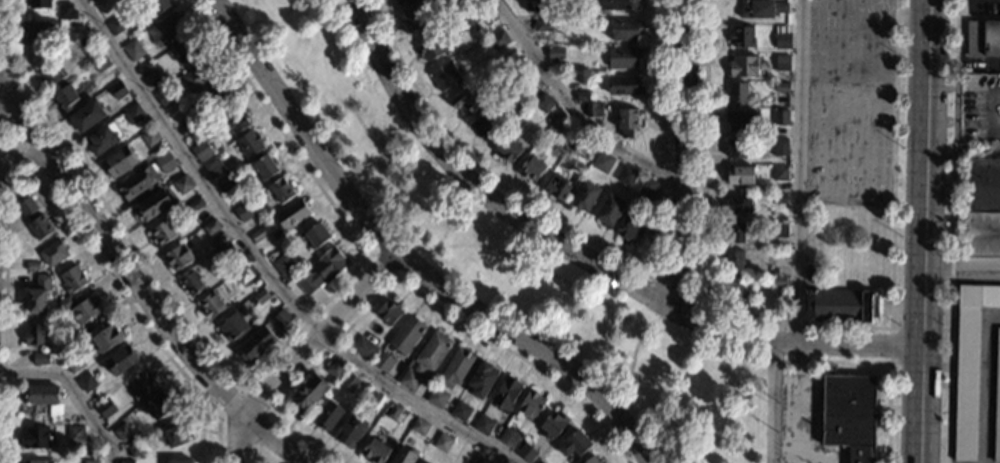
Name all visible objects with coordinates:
building: (401, 1)
building: (40, 4)
building: (617, 5)
building: (157, 6)
building: (534, 6)
building: (760, 9)
building: (66, 12)
building: (413, 19)
building: (470, 19)
building: (117, 25)
building: (541, 26)
building: (74, 27)
building: (41, 30)
building: (624, 30)
building: (165, 31)
building: (741, 38)
building: (982, 38)
building: (498, 40)
building: (85, 41)
building: (781, 41)
building: (429, 48)
building: (132, 50)
building: (186, 51)
building: (555, 53)
building: (512, 59)
building: (621, 59)
building: (781, 63)
building: (101, 65)
building: (742, 67)
building: (146, 70)
building: (50, 75)
building: (443, 75)
building: (198, 76)
building: (622, 86)
building: (780, 87)
building: (535, 88)
building: (117, 91)
road: (9, 92)
building: (736, 93)
building: (219, 95)
building: (165, 96)
building: (581, 97)
building: (64, 98)
building: (464, 102)
parking lot: (849, 102)
building: (542, 103)
road: (570, 108)
parking lot: (979, 108)
road: (988, 109)
building: (591, 110)
building: (133, 115)
building: (87, 116)
building: (779, 118)
building: (235, 120)
building: (626, 121)
building: (737, 121)
building: (556, 122)
building: (481, 128)
building: (187, 129)
road: (7, 135)
building: (149, 137)
road: (15, 138)
building: (104, 139)
building: (249, 144)
building: (574, 144)
building: (778, 147)
building: (506, 149)
building: (736, 149)
building: (201, 150)
road: (683, 155)
road: (23, 158)
building: (602, 161)
building: (163, 162)
building: (118, 163)
road: (33, 165)
building: (212, 166)
building: (265, 168)
building: (530, 168)
building: (779, 174)
road: (7, 175)
building: (624, 175)
building: (739, 177)
building: (136, 183)
building: (182, 185)
building: (224, 186)
building: (646, 187)
building: (555, 188)
road: (477, 189)
building: (280, 190)
road: (51, 193)
building: (584, 197)
building: (778, 200)
building: (195, 204)
building: (737, 204)
building: (152, 206)
building: (983, 208)
building: (609, 211)
building: (243, 212)
building: (291, 215)
building: (34, 220)
building: (211, 227)
building: (777, 230)
building: (628, 231)
road: (926, 231)
road: (951, 231)
building: (734, 233)
building: (163, 234)
road: (798, 234)
building: (316, 235)
building: (258, 236)
road: (600, 247)
park: (508, 249)
building: (226, 253)
building: (53, 254)
road: (118, 257)
building: (178, 258)
road: (402, 260)
building: (732, 261)
road: (383, 263)
building: (282, 265)
building: (31, 266)
road: (261, 266)
road: (962, 270)
building: (320, 272)
building: (811, 273)
building: (242, 275)
building: (72, 280)
building: (777, 280)
building: (191, 283)
road: (410, 284)
building: (732, 292)
building: (36, 296)
building: (260, 297)
road: (695, 301)
building: (64, 304)
building: (210, 306)
building: (837, 306)
building: (85, 309)
building: (388, 311)
road: (2, 316)
building: (281, 318)
road: (805, 327)
building: (233, 328)
building: (34, 334)
building: (405, 334)
road: (317, 336)
building: (106, 338)
building: (72, 340)
road: (795, 341)
building: (256, 344)
road: (889, 346)
building: (363, 347)
building: (432, 351)
building: (40, 358)
building: (120, 359)
building: (382, 361)
road: (842, 362)
building: (75, 364)
building: (969, 364)
building: (454, 367)
building: (333, 369)
road: (254, 377)
building: (410, 379)
building: (481, 379)
building: (347, 381)
building: (87, 383)
building: (140, 383)
road: (986, 384)
road: (74, 390)
building: (42, 393)
building: (505, 393)
building: (308, 394)
building: (369, 397)
building: (436, 397)
road: (802, 402)
building: (997, 403)
building: (159, 404)
building: (529, 405)
building: (106, 407)
building: (392, 411)
building: (459, 412)
road: (268, 414)
building: (326, 414)
building: (849, 414)
building: (483, 424)
building: (553, 424)
building: (418, 426)
building: (123, 431)
building: (350, 431)
building: (75, 434)
building: (178, 434)
building: (35, 436)
building: (508, 438)
road: (240, 440)
road: (273, 440)
building: (442, 442)
building: (573, 443)
building: (135, 447)
road: (257, 449)
building: (374, 451)
building: (525, 451)
building: (401, 455)
building: (593, 459)
building: (479, 460)
building: (38, 461)
building: (91, 461)
building: (126, 461)
building: (180, 461)
building: (427, 462)
building: (539, 462)

